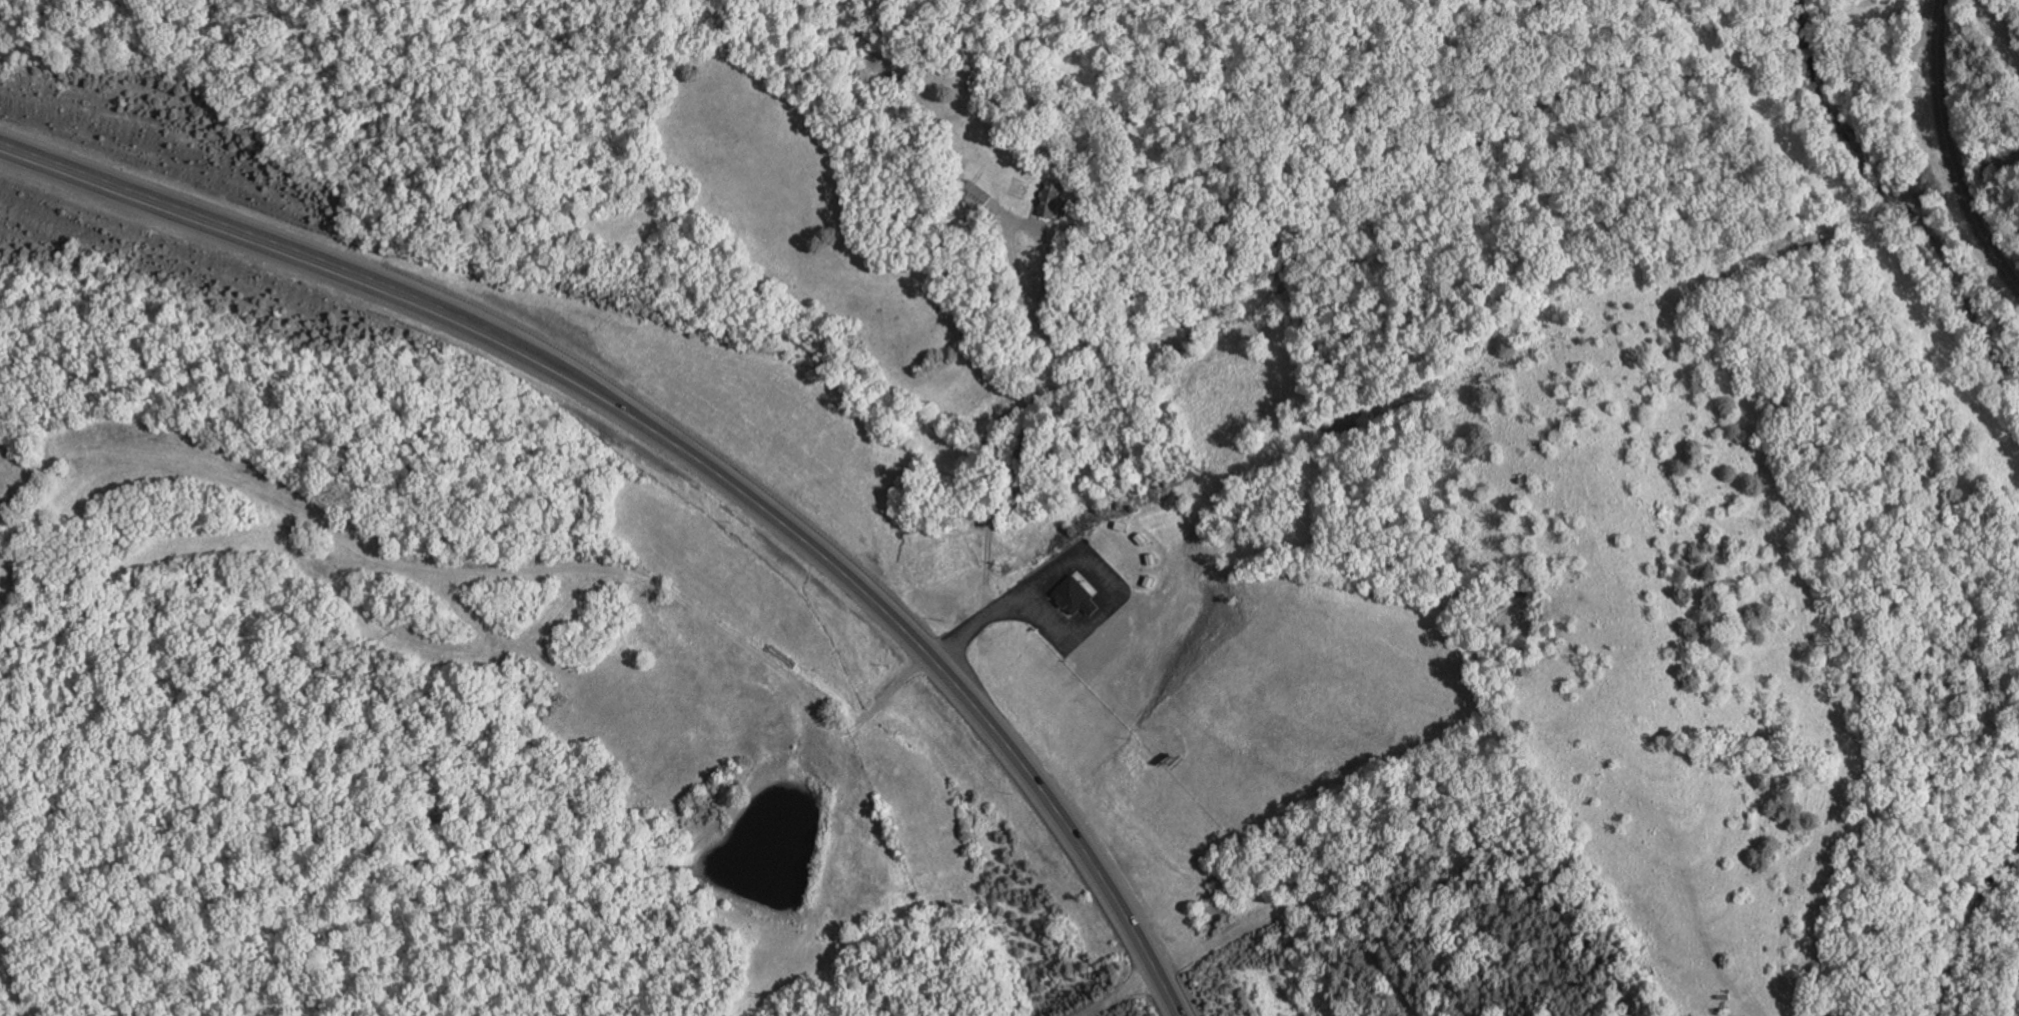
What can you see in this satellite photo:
road: (1878, 41)
road: (1808, 51)
building: (1018, 136)
road: (1948, 153)
building: (976, 194)
building: (1049, 198)
building: (1079, 206)
road: (1347, 214)
road: (1026, 225)
road: (260, 241)
road: (1053, 459)
road: (139, 460)
road: (814, 547)
road: (623, 575)
road: (1123, 591)
road: (1108, 593)
building: (1073, 595)
road: (1090, 609)
road: (1077, 622)
road: (975, 624)
road: (1125, 911)
road: (1183, 960)

